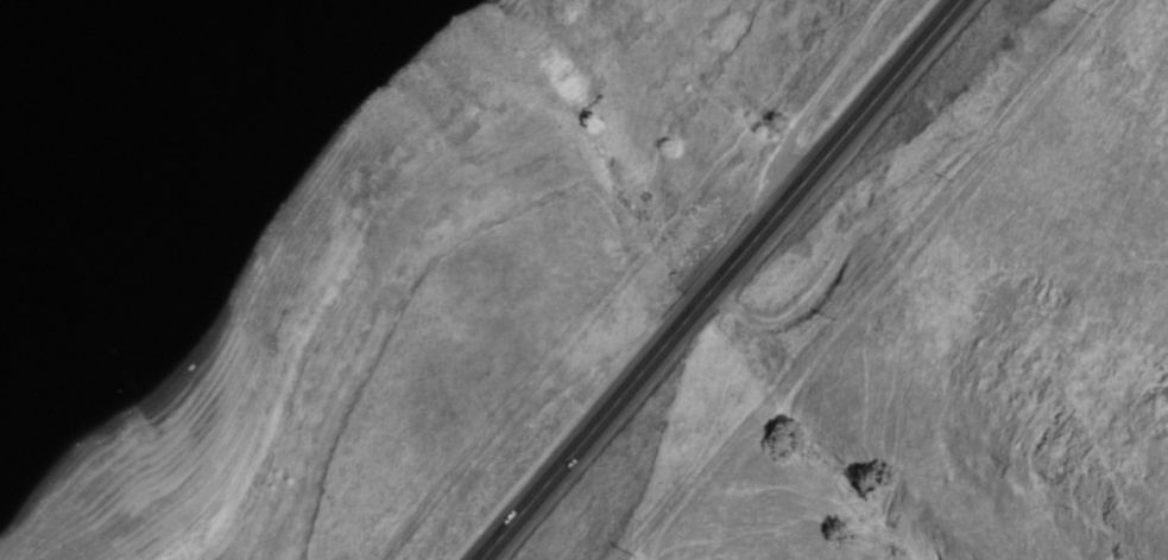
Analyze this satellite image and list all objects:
road: (720, 279)

